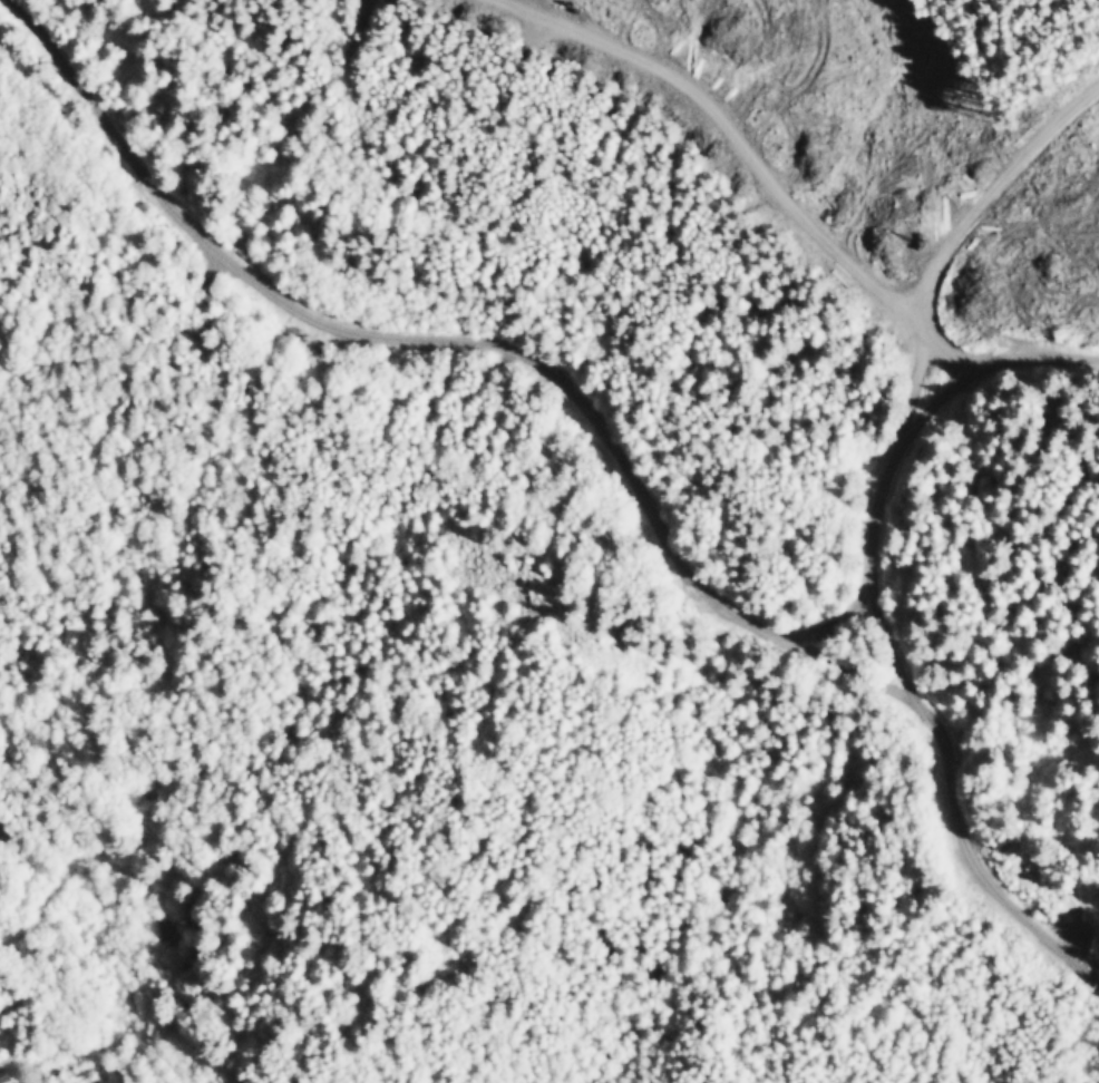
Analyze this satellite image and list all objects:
road: (956, 205)
road: (469, 340)
road: (882, 626)

